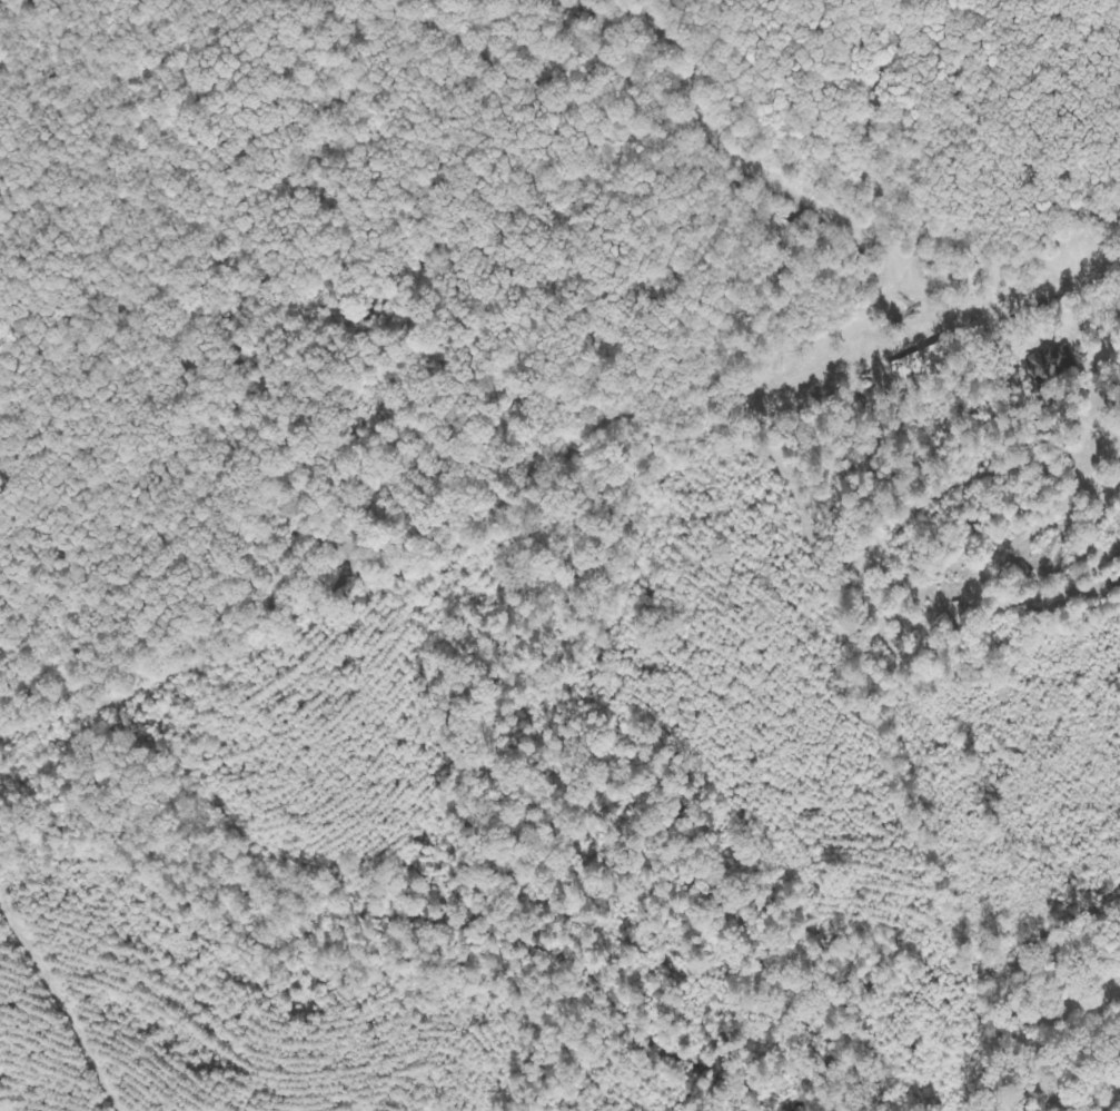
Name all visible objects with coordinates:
building: (925, 359)

